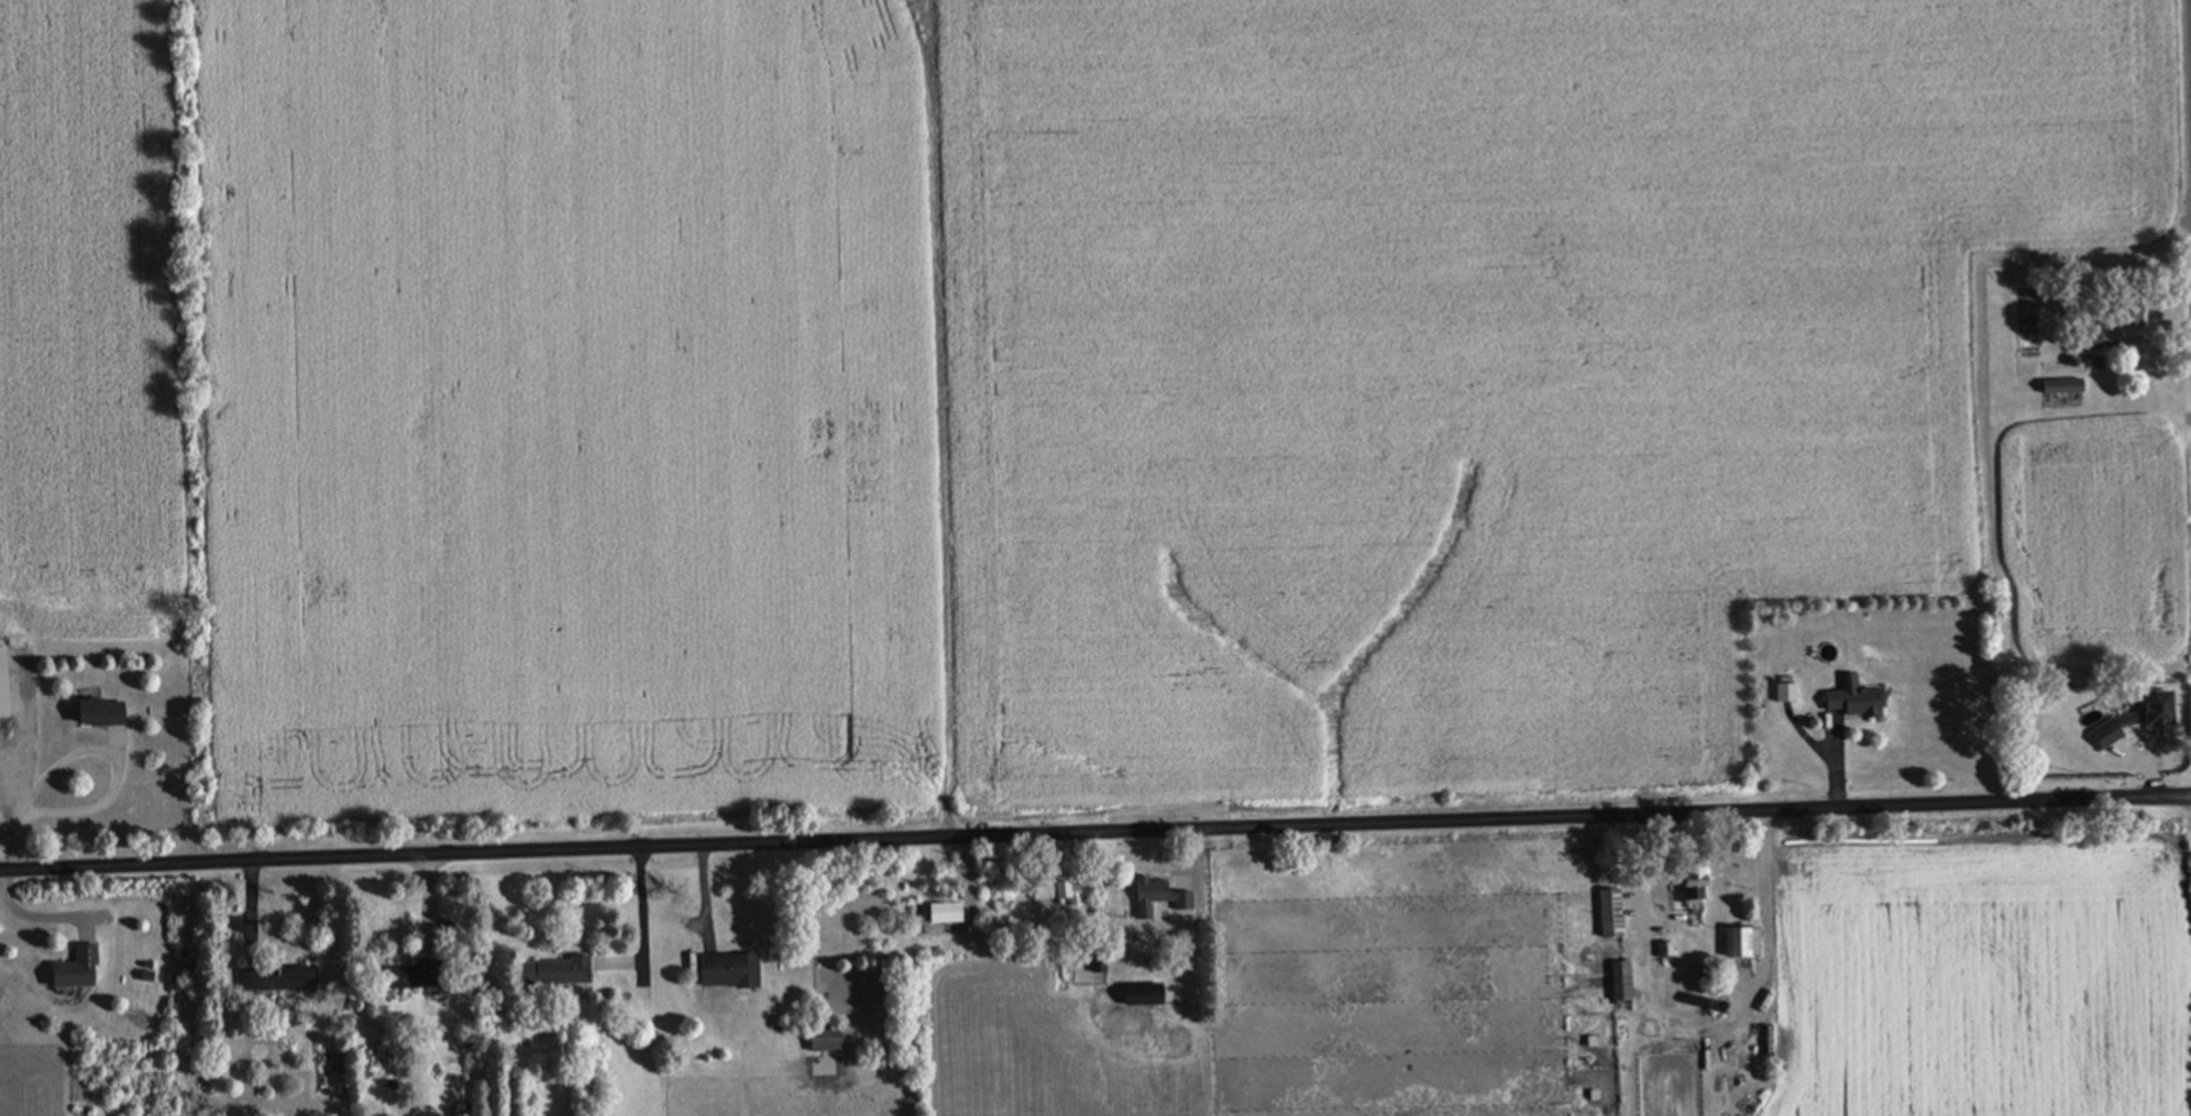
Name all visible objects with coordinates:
building: (2069, 388)
building: (7, 683)
building: (1793, 693)
building: (1863, 699)
building: (2168, 707)
building: (108, 711)
road: (23, 783)
road: (1095, 833)
road: (1641, 874)
building: (1702, 890)
building: (1085, 894)
building: (1167, 894)
building: (951, 914)
building: (1617, 914)
road: (1769, 924)
building: (1748, 942)
building: (1103, 963)
building: (1687, 966)
building: (81, 970)
building: (735, 971)
building: (562, 973)
building: (425, 974)
building: (285, 980)
building: (1627, 982)
building: (1142, 997)
building: (833, 1040)

